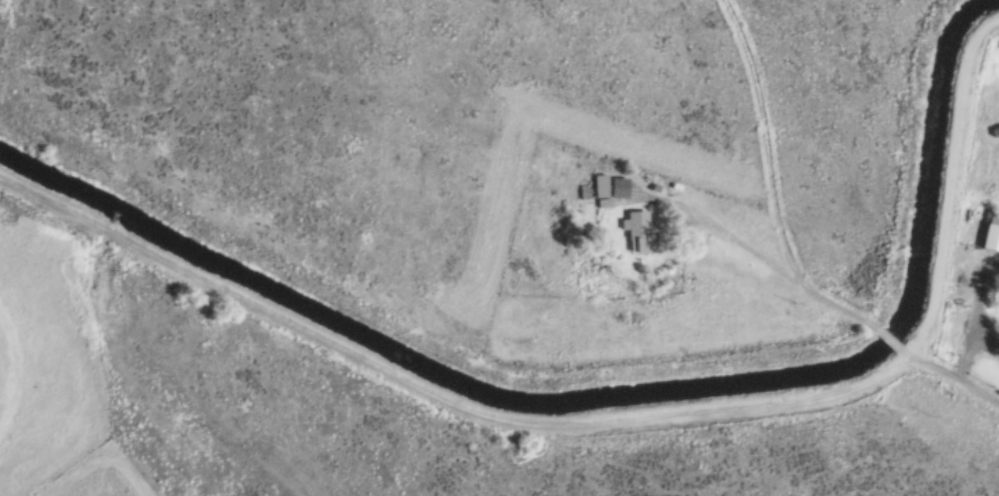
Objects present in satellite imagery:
building: (995, 130)
road: (586, 172)
building: (598, 185)
road: (770, 186)
building: (617, 188)
building: (653, 188)
building: (680, 190)
building: (581, 192)
building: (602, 204)
road: (673, 205)
building: (638, 230)
building: (991, 233)
road: (695, 248)
building: (949, 306)
road: (984, 309)
road: (890, 343)
road: (970, 354)
road: (950, 378)
road: (609, 424)

